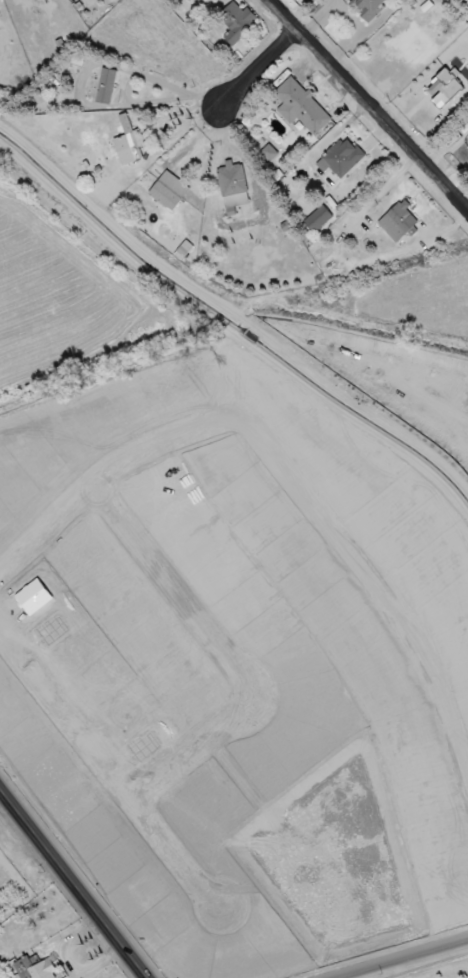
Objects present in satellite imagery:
building: (369, 8)
building: (237, 22)
road: (258, 68)
road: (136, 76)
building: (106, 86)
building: (445, 88)
road: (368, 105)
building: (300, 106)
building: (129, 143)
building: (269, 153)
building: (341, 158)
building: (233, 186)
building: (169, 191)
building: (318, 219)
building: (398, 223)
road: (74, 884)
road: (401, 959)
building: (35, 969)

